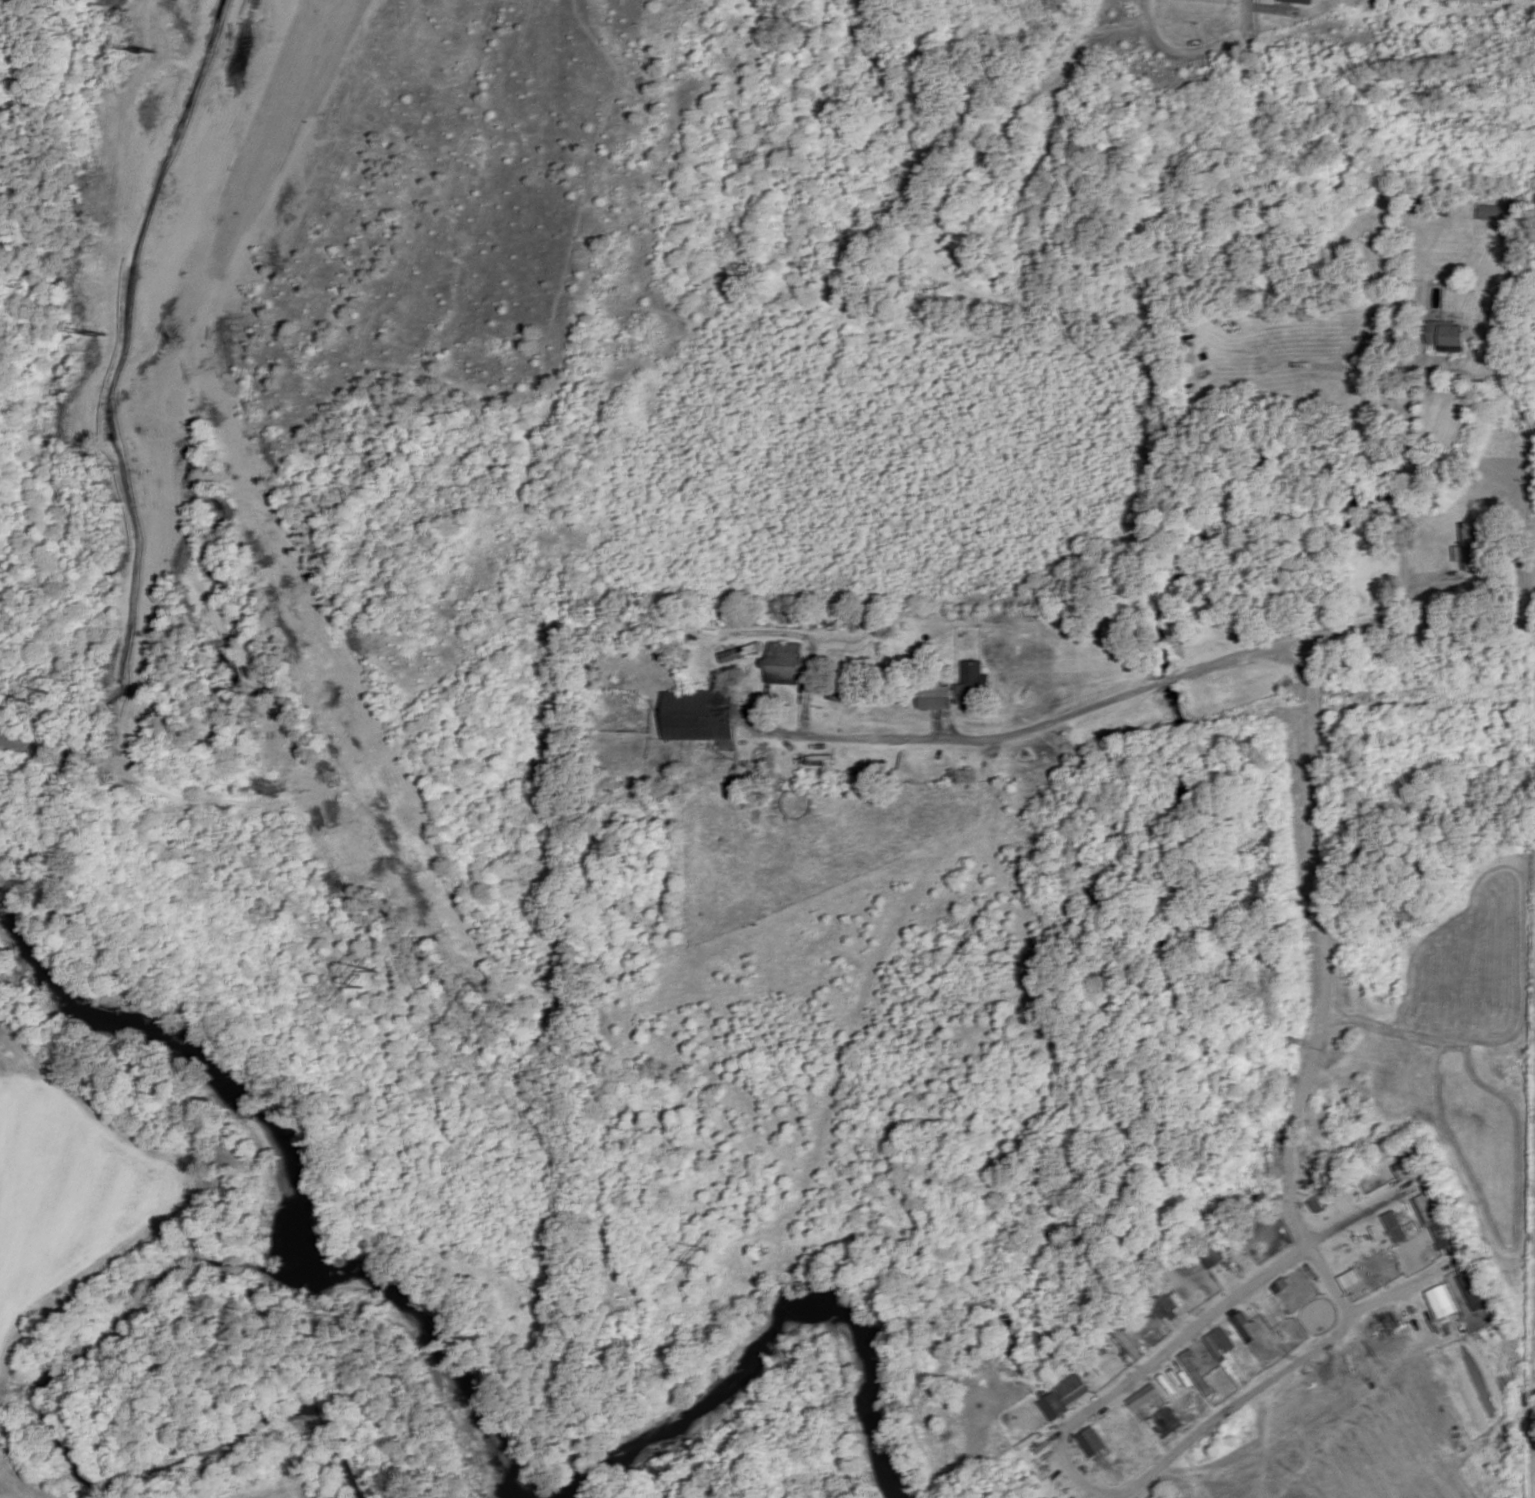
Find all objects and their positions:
building: (1300, 1)
road: (1242, 21)
power tower: (147, 51)
road: (1178, 51)
building: (1496, 211)
power tower: (101, 332)
building: (1447, 335)
road: (1404, 491)
building: (1467, 545)
road: (1413, 626)
building: (741, 651)
building: (784, 662)
building: (957, 688)
power tower: (30, 698)
building: (700, 714)
road: (1041, 722)
road: (1322, 948)
power tower: (368, 979)
building: (1406, 1168)
road: (1350, 1218)
building: (1434, 1221)
building: (1394, 1225)
building: (1213, 1256)
power tower: (704, 1258)
road: (1325, 1278)
building: (1350, 1279)
building: (1473, 1288)
building: (1440, 1300)
building: (1164, 1307)
building: (1243, 1325)
building: (1220, 1341)
building: (1126, 1342)
building: (1196, 1372)
building: (1065, 1395)
building: (1143, 1396)
building: (1165, 1421)
building: (1091, 1440)
road: (1115, 1492)

